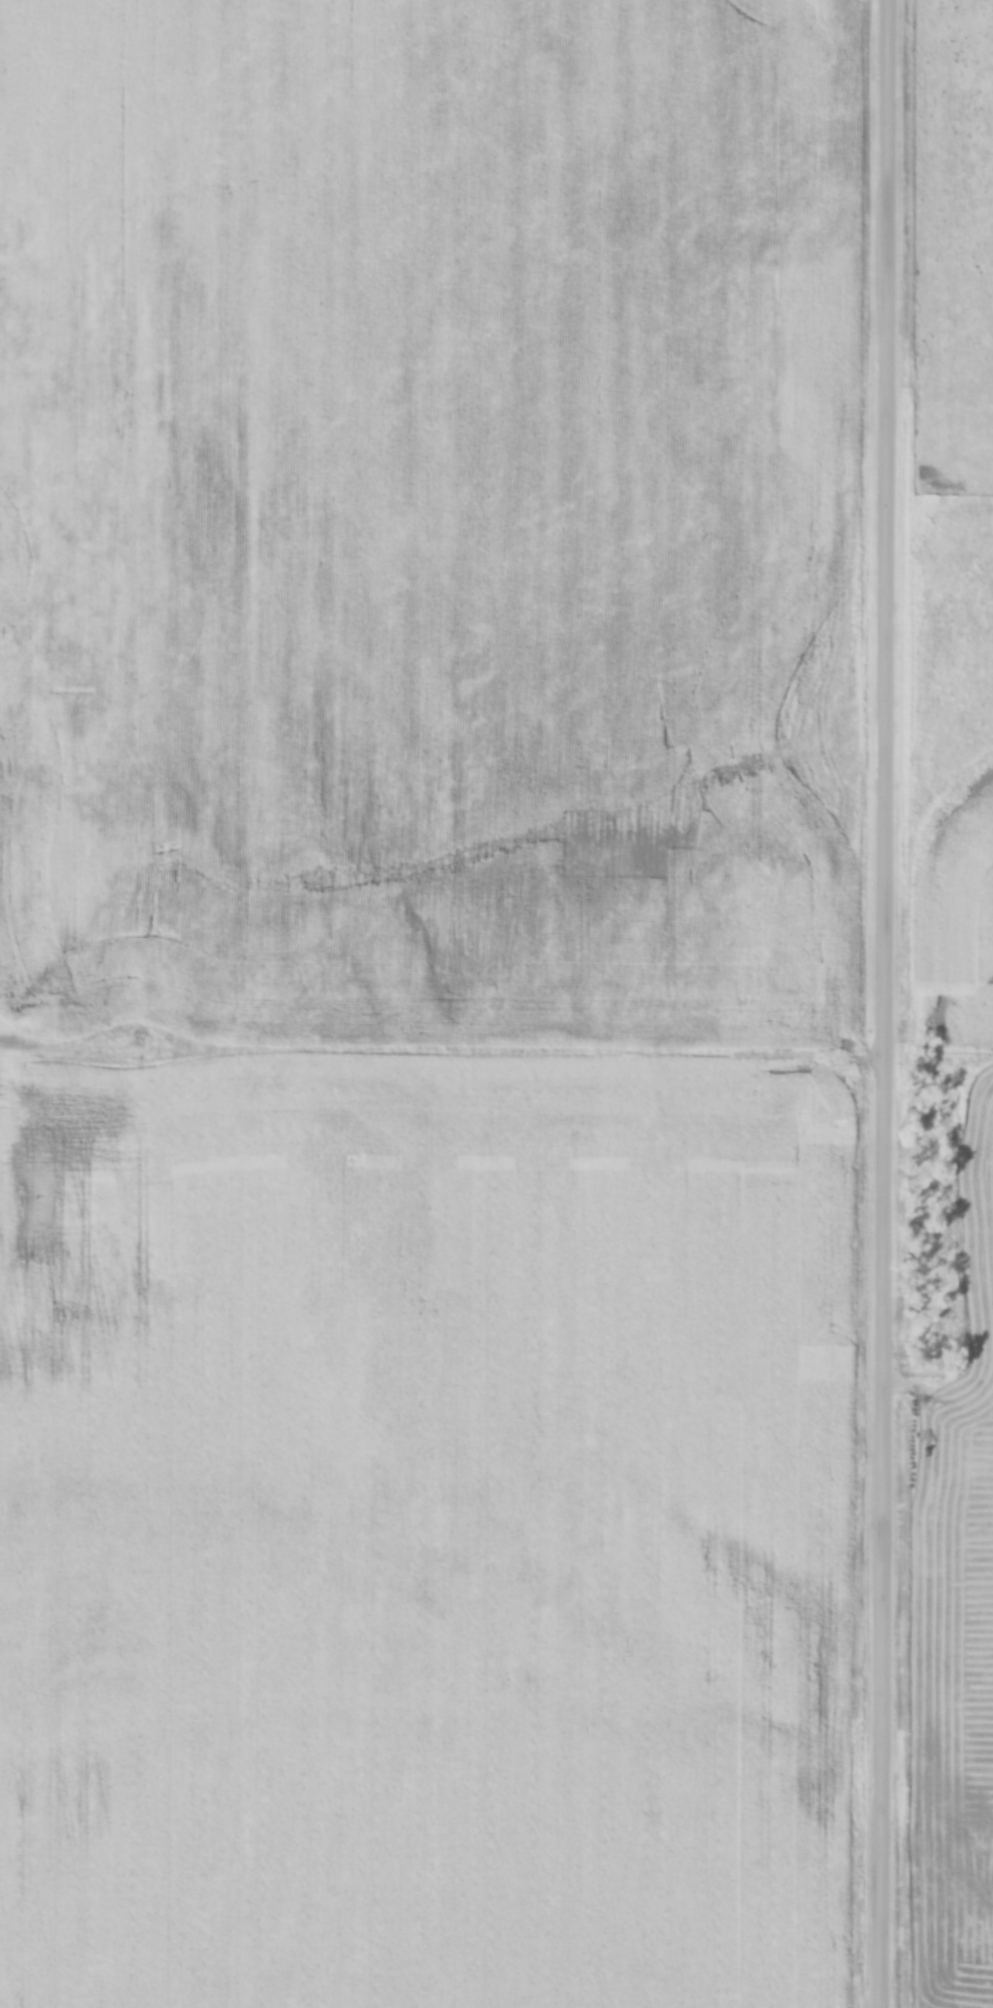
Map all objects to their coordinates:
road: (889, 1004)

